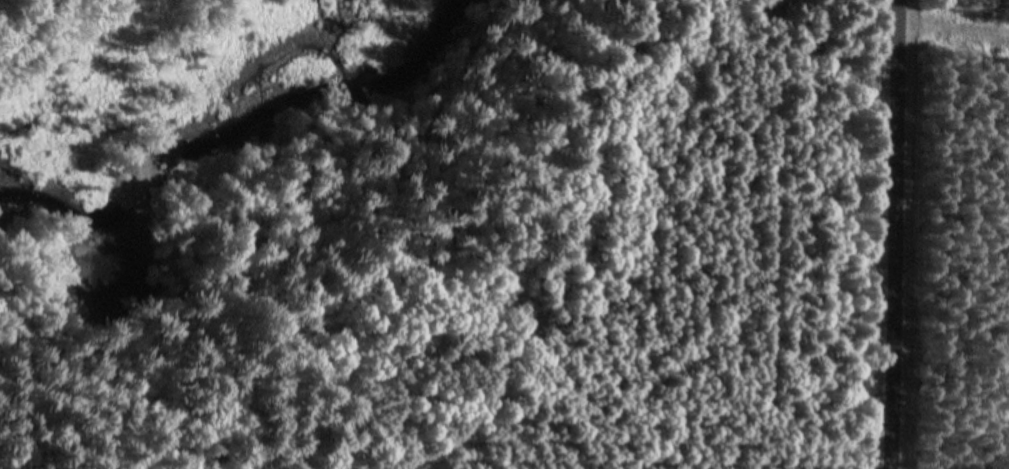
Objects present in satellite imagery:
road: (892, 234)

